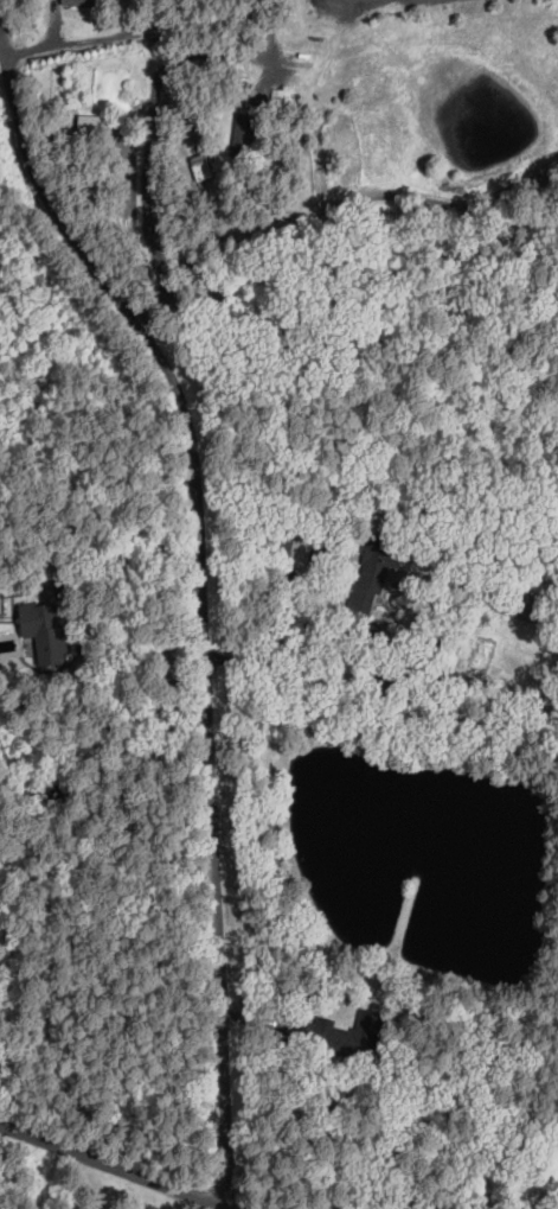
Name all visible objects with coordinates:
building: (88, 2)
road: (53, 23)
road: (162, 30)
road: (5, 75)
building: (242, 83)
building: (238, 90)
building: (278, 96)
building: (140, 102)
building: (132, 117)
building: (88, 121)
road: (150, 123)
building: (244, 136)
building: (90, 140)
building: (200, 167)
building: (223, 184)
road: (334, 203)
road: (129, 559)
building: (370, 575)
road: (315, 586)
building: (44, 630)
road: (209, 715)
building: (345, 1030)
road: (402, 1201)
road: (229, 1207)
road: (231, 1207)

